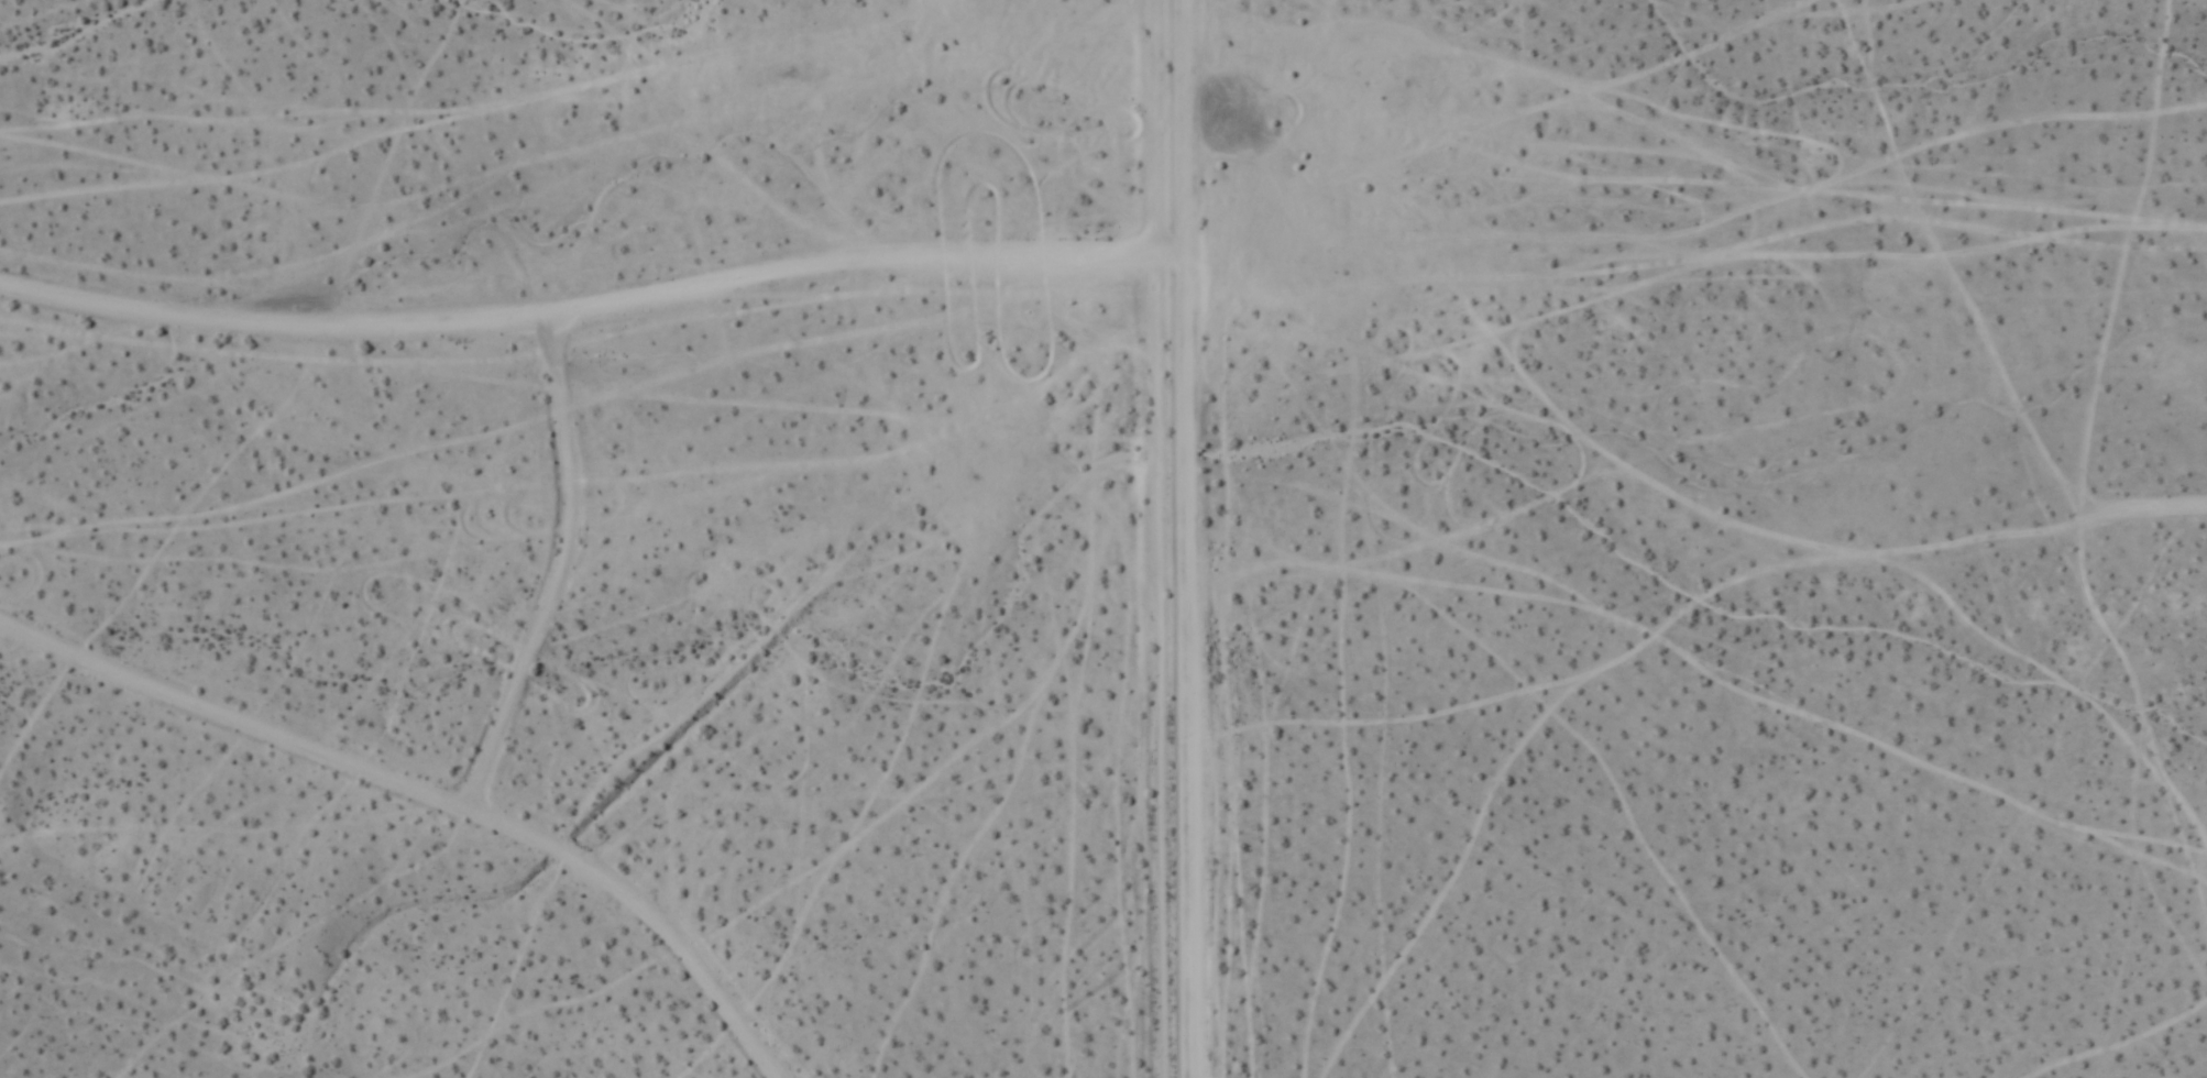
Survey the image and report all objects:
road: (594, 311)
road: (1167, 538)
road: (1192, 538)
road: (561, 574)
crop: (1120, 582)
road: (426, 796)

